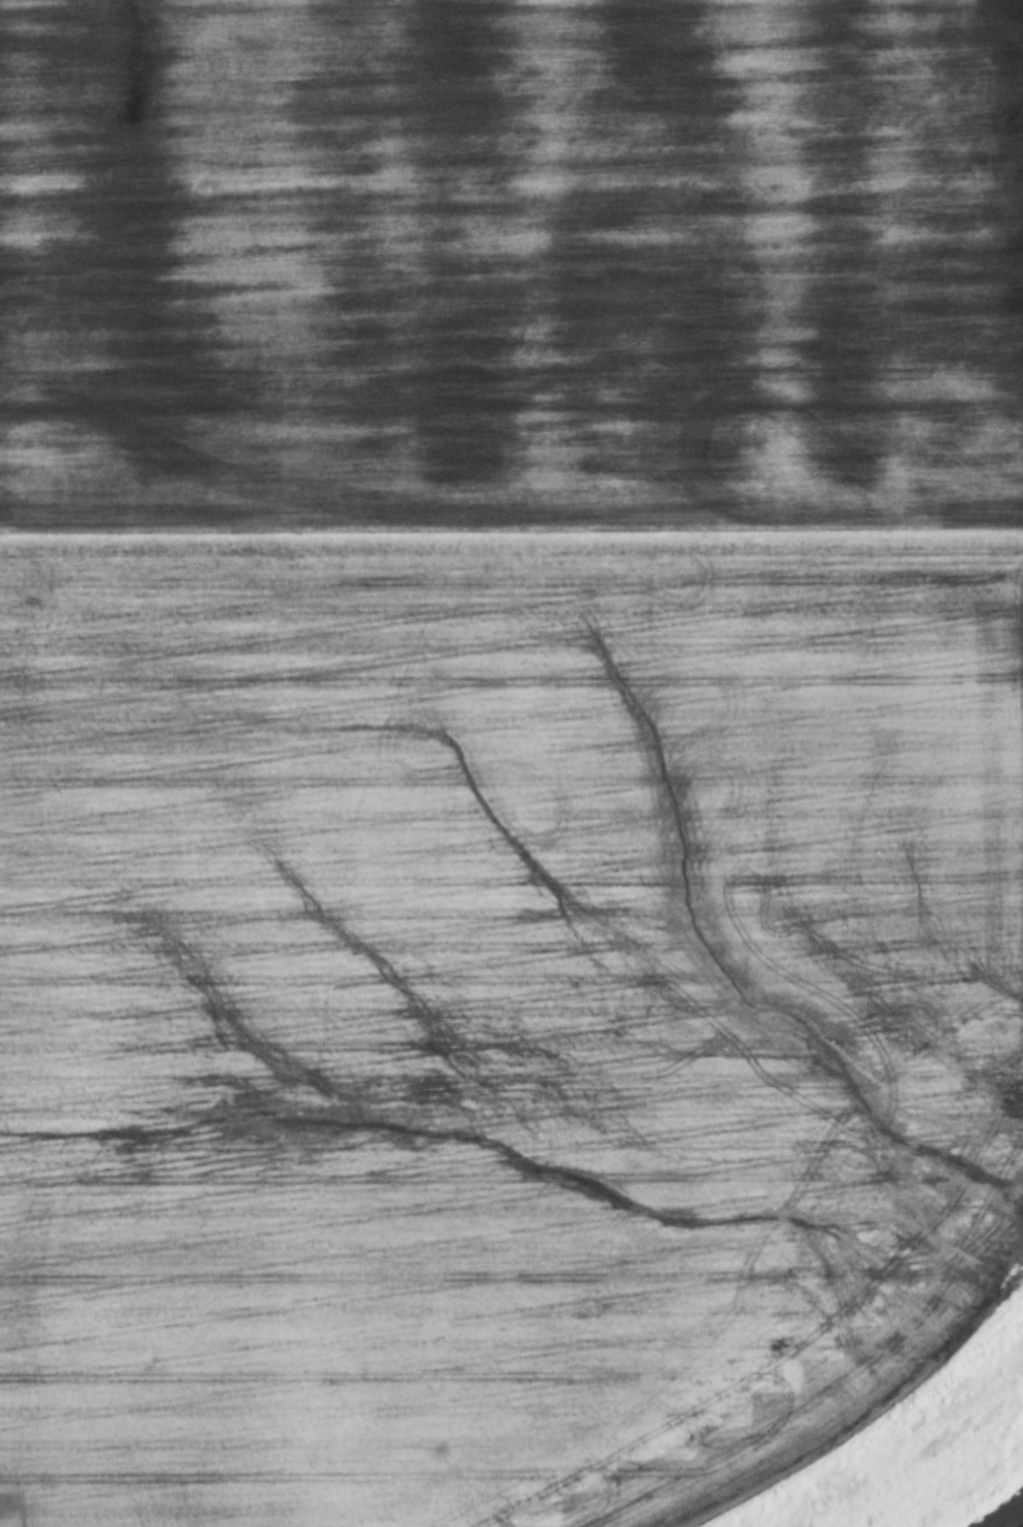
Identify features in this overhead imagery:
river: (1017, 1520)

